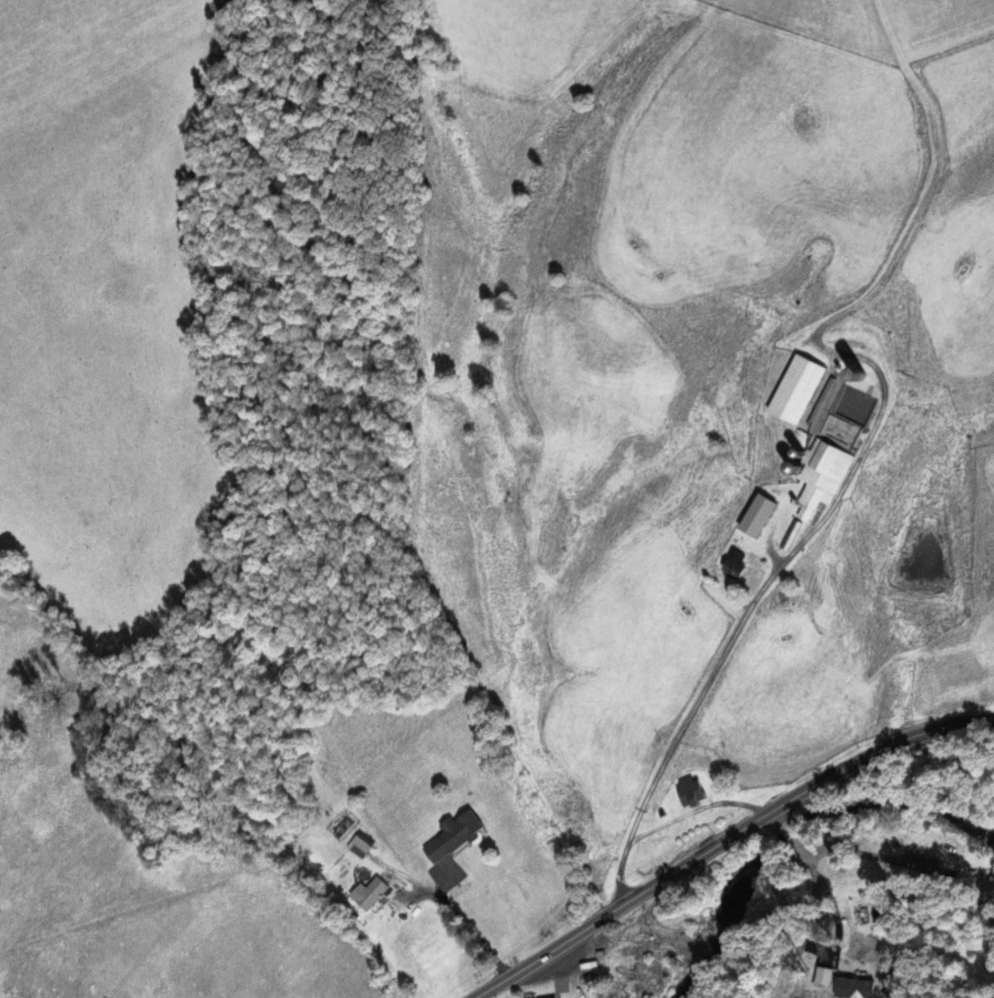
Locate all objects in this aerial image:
building: (798, 390)
building: (821, 452)
building: (758, 516)
building: (735, 563)
road: (679, 731)
building: (689, 792)
building: (454, 836)
road: (742, 844)
road: (849, 891)
building: (989, 892)
building: (372, 894)
building: (863, 947)
building: (554, 997)

